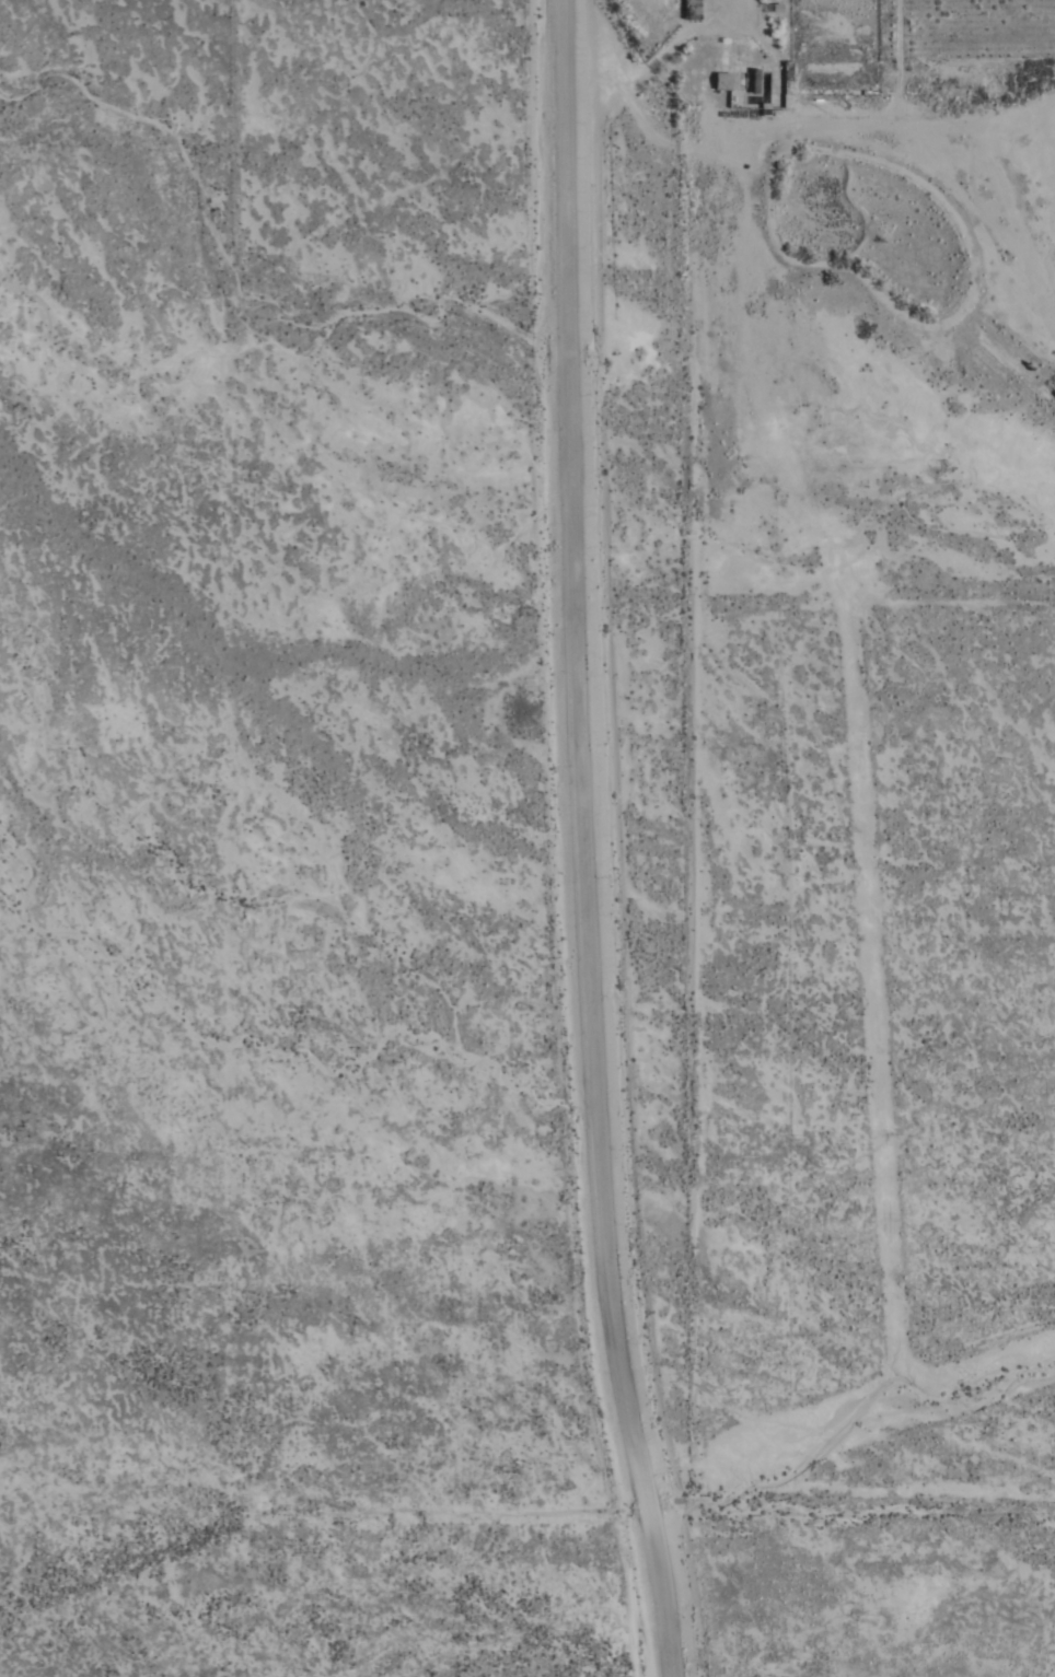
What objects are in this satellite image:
building: (692, 10)
building: (755, 80)
building: (722, 81)
building: (787, 85)
building: (1048, 203)
building: (1046, 212)
road: (584, 841)
airport taxiway: (872, 982)
airport runway: (892, 1411)
airport taxiway: (899, 1483)

